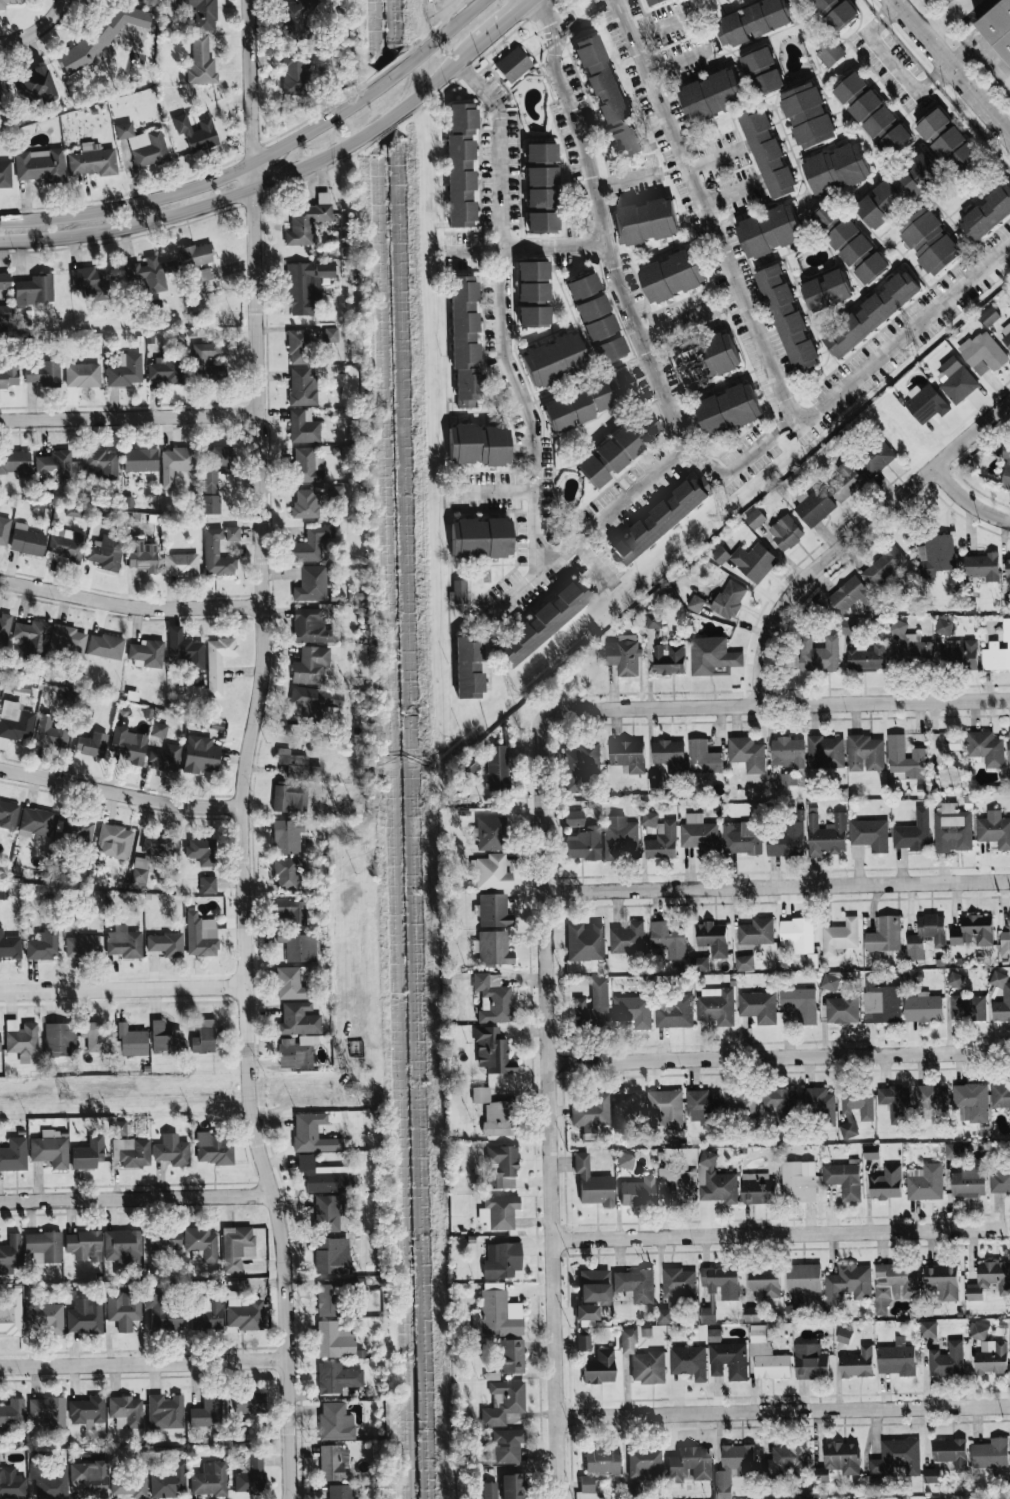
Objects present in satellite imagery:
building: (726, 1)
building: (654, 2)
building: (2, 6)
building: (822, 6)
building: (299, 10)
building: (202, 13)
road: (439, 13)
building: (841, 17)
road: (950, 20)
road: (509, 21)
building: (752, 22)
road: (450, 25)
road: (660, 28)
building: (998, 28)
road: (37, 29)
river: (385, 30)
building: (101, 37)
building: (830, 54)
road: (889, 60)
building: (201, 61)
road: (676, 62)
building: (512, 65)
road: (454, 66)
road: (951, 69)
road: (398, 71)
building: (763, 71)
building: (294, 72)
building: (35, 84)
road: (1007, 86)
building: (850, 88)
road: (562, 92)
building: (606, 94)
building: (712, 96)
river: (386, 100)
road: (400, 111)
building: (873, 115)
building: (807, 116)
building: (933, 125)
building: (196, 133)
building: (894, 141)
building: (143, 145)
building: (956, 151)
building: (541, 152)
building: (767, 153)
road: (712, 159)
building: (93, 160)
building: (460, 164)
building: (40, 165)
road: (666, 167)
building: (836, 170)
building: (924, 170)
building: (5, 174)
road: (623, 181)
road: (198, 185)
building: (907, 185)
building: (541, 187)
road: (727, 195)
building: (880, 205)
road: (194, 208)
road: (700, 212)
building: (987, 214)
building: (307, 220)
building: (542, 221)
building: (646, 222)
building: (769, 232)
building: (849, 242)
building: (929, 242)
road: (554, 245)
road: (473, 252)
building: (196, 263)
building: (150, 273)
building: (672, 276)
building: (88, 280)
building: (4, 281)
building: (306, 285)
building: (34, 290)
building: (826, 291)
building: (533, 293)
building: (5, 312)
road: (503, 312)
building: (872, 314)
building: (596, 317)
building: (989, 317)
building: (787, 319)
road: (673, 322)
building: (1005, 334)
building: (330, 335)
building: (465, 342)
building: (298, 346)
power tower: (910, 348)
building: (983, 353)
building: (554, 359)
building: (200, 360)
building: (707, 360)
building: (167, 368)
building: (125, 370)
building: (43, 373)
building: (9, 375)
building: (82, 375)
building: (955, 380)
building: (302, 386)
building: (586, 401)
building: (925, 403)
building: (728, 410)
road: (130, 416)
building: (303, 426)
building: (644, 428)
building: (478, 444)
building: (609, 457)
building: (140, 459)
building: (875, 459)
road: (741, 460)
building: (101, 462)
building: (15, 463)
building: (176, 463)
building: (55, 464)
building: (307, 465)
building: (214, 476)
building: (1006, 478)
building: (845, 482)
building: (336, 491)
road: (492, 491)
road: (966, 502)
building: (306, 504)
building: (815, 507)
building: (73, 511)
power tower: (718, 516)
building: (663, 519)
building: (755, 519)
building: (4, 531)
building: (232, 533)
building: (785, 533)
road: (853, 535)
road: (580, 537)
building: (480, 538)
building: (26, 540)
building: (66, 544)
building: (311, 544)
building: (106, 551)
building: (936, 554)
building: (216, 555)
building: (143, 556)
building: (748, 561)
road: (591, 562)
building: (181, 564)
building: (982, 566)
building: (882, 567)
building: (1007, 572)
building: (312, 583)
building: (458, 592)
building: (853, 596)
building: (729, 599)
building: (695, 604)
road: (130, 605)
building: (653, 620)
building: (542, 623)
building: (312, 626)
building: (943, 627)
building: (4, 628)
building: (849, 628)
building: (33, 636)
building: (67, 639)
building: (908, 646)
building: (104, 647)
building: (997, 652)
building: (187, 654)
building: (960, 654)
building: (623, 655)
building: (818, 655)
building: (712, 657)
building: (867, 658)
building: (669, 660)
building: (218, 663)
building: (310, 665)
building: (469, 667)
building: (21, 688)
power tower: (511, 693)
building: (315, 701)
road: (777, 705)
building: (14, 722)
building: (158, 729)
building: (51, 732)
building: (955, 743)
building: (92, 744)
building: (129, 745)
building: (1008, 745)
road: (248, 746)
building: (985, 748)
building: (787, 752)
building: (826, 752)
building: (865, 753)
building: (896, 753)
building: (747, 754)
building: (201, 755)
building: (669, 755)
building: (628, 756)
building: (165, 758)
building: (703, 758)
building: (579, 763)
building: (297, 765)
building: (467, 765)
building: (497, 767)
building: (788, 779)
building: (655, 782)
road: (119, 792)
building: (290, 797)
building: (8, 815)
building: (573, 818)
river: (402, 819)
building: (35, 822)
building: (76, 829)
building: (952, 829)
building: (994, 830)
building: (490, 832)
building: (913, 833)
building: (699, 835)
building: (870, 835)
building: (287, 836)
building: (619, 836)
building: (827, 836)
power tower: (344, 837)
building: (660, 837)
building: (741, 838)
building: (113, 840)
building: (786, 841)
building: (583, 844)
building: (201, 851)
building: (150, 855)
building: (288, 872)
building: (492, 872)
building: (207, 884)
road: (776, 887)
building: (291, 910)
building: (494, 910)
building: (1009, 917)
building: (973, 931)
building: (756, 932)
building: (200, 934)
building: (797, 935)
building: (884, 935)
building: (926, 936)
building: (668, 937)
building: (840, 937)
building: (627, 939)
building: (712, 939)
building: (123, 941)
building: (585, 942)
building: (165, 944)
building: (1005, 944)
building: (43, 945)
building: (10, 946)
building: (81, 946)
building: (298, 946)
building: (494, 948)
building: (744, 963)
building: (699, 964)
building: (955, 979)
building: (290, 983)
building: (830, 983)
road: (122, 989)
building: (1006, 993)
building: (493, 998)
building: (593, 1002)
building: (801, 1004)
building: (882, 1005)
building: (716, 1006)
building: (758, 1007)
building: (630, 1008)
building: (922, 1008)
building: (967, 1008)
building: (842, 1009)
building: (675, 1013)
building: (299, 1019)
building: (96, 1036)
building: (20, 1037)
building: (204, 1037)
building: (166, 1038)
building: (58, 1039)
building: (131, 1041)
building: (0, 1048)
building: (296, 1051)
building: (492, 1051)
road: (780, 1058)
power tower: (349, 1092)
building: (1000, 1097)
power tower: (56, 1098)
building: (780, 1100)
building: (971, 1102)
building: (818, 1103)
building: (932, 1103)
building: (742, 1104)
building: (895, 1104)
road: (550, 1106)
building: (702, 1108)
building: (855, 1108)
building: (665, 1110)
building: (629, 1111)
building: (493, 1112)
building: (590, 1112)
building: (119, 1127)
building: (312, 1133)
building: (214, 1148)
building: (50, 1149)
building: (171, 1150)
building: (954, 1151)
building: (88, 1152)
building: (870, 1152)
building: (14, 1154)
building: (625, 1160)
building: (501, 1167)
building: (324, 1176)
building: (844, 1180)
building: (799, 1181)
building: (970, 1181)
building: (1000, 1181)
building: (925, 1182)
building: (592, 1183)
building: (886, 1184)
building: (680, 1185)
building: (757, 1189)
building: (637, 1191)
road: (136, 1197)
building: (499, 1211)
building: (328, 1213)
road: (782, 1234)
building: (165, 1240)
building: (122, 1243)
building: (201, 1244)
building: (84, 1245)
building: (44, 1246)
building: (237, 1247)
building: (10, 1254)
building: (332, 1255)
building: (502, 1260)
building: (803, 1278)
building: (990, 1280)
building: (943, 1281)
building: (765, 1282)
building: (721, 1283)
building: (678, 1284)
building: (595, 1285)
building: (635, 1285)
building: (894, 1285)
building: (847, 1286)
building: (327, 1298)
building: (123, 1310)
building: (161, 1310)
building: (244, 1312)
building: (500, 1312)
building: (587, 1312)
building: (10, 1314)
building: (751, 1314)
building: (707, 1315)
building: (85, 1316)
building: (208, 1316)
building: (664, 1316)
building: (45, 1317)
building: (927, 1329)
building: (978, 1331)
building: (714, 1336)
building: (844, 1336)
building: (334, 1340)
building: (628, 1340)
building: (583, 1342)
building: (512, 1356)
building: (766, 1356)
building: (991, 1358)
building: (896, 1359)
building: (947, 1360)
building: (728, 1361)
building: (688, 1362)
building: (810, 1362)
road: (144, 1363)
building: (857, 1363)
building: (599, 1367)
building: (648, 1367)
building: (337, 1377)
building: (248, 1402)
building: (503, 1402)
road: (784, 1410)
building: (48, 1411)
building: (87, 1411)
building: (126, 1411)
building: (165, 1411)
building: (207, 1411)
building: (12, 1414)
building: (335, 1422)
building: (507, 1445)
building: (951, 1453)
building: (990, 1454)
building: (896, 1458)
building: (787, 1459)
building: (837, 1461)
building: (334, 1463)
building: (644, 1464)
building: (689, 1464)
building: (598, 1466)
building: (733, 1468)
building: (251, 1473)
building: (931, 1476)
building: (88, 1477)
building: (210, 1479)
building: (49, 1480)
building: (170, 1481)
building: (129, 1483)
building: (12, 1484)
building: (512, 1486)
building: (489, 1490)
building: (339, 1492)
building: (634, 1492)
road: (291, 1494)

